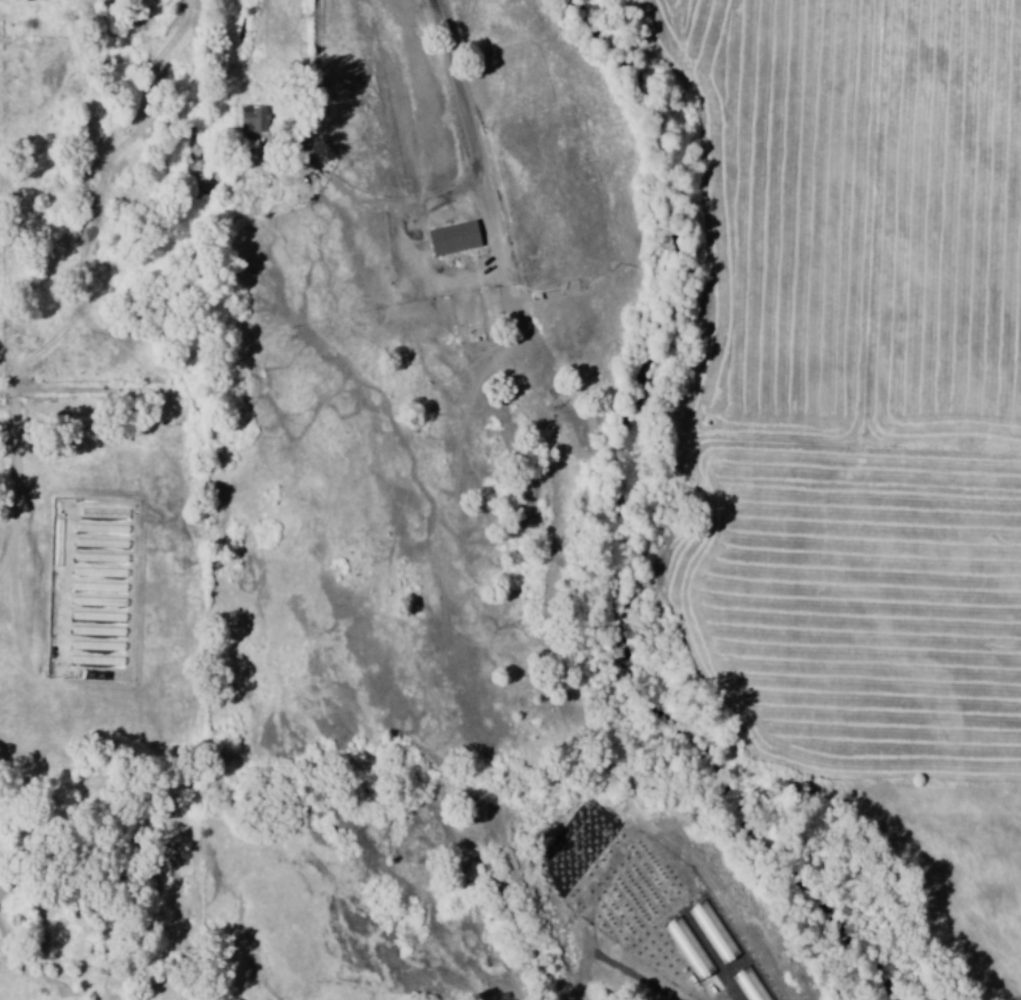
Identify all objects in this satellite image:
building: (254, 119)
building: (456, 238)
road: (560, 529)
building: (713, 933)
building: (689, 949)
building: (751, 985)

